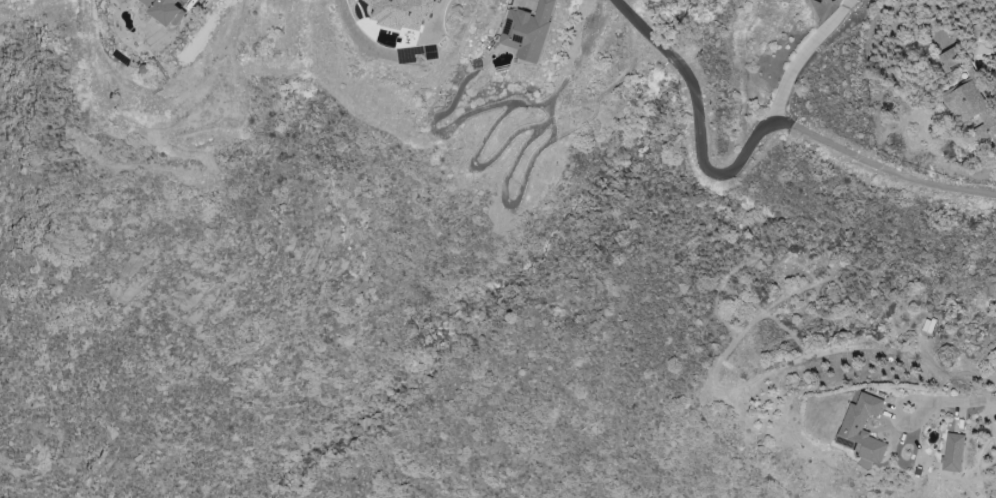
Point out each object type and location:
building: (837, 2)
building: (169, 9)
building: (404, 13)
building: (530, 30)
building: (954, 57)
road: (795, 64)
road: (520, 99)
building: (974, 108)
road: (698, 126)
road: (889, 171)
road: (964, 402)
road: (897, 413)
building: (864, 429)
building: (955, 452)

